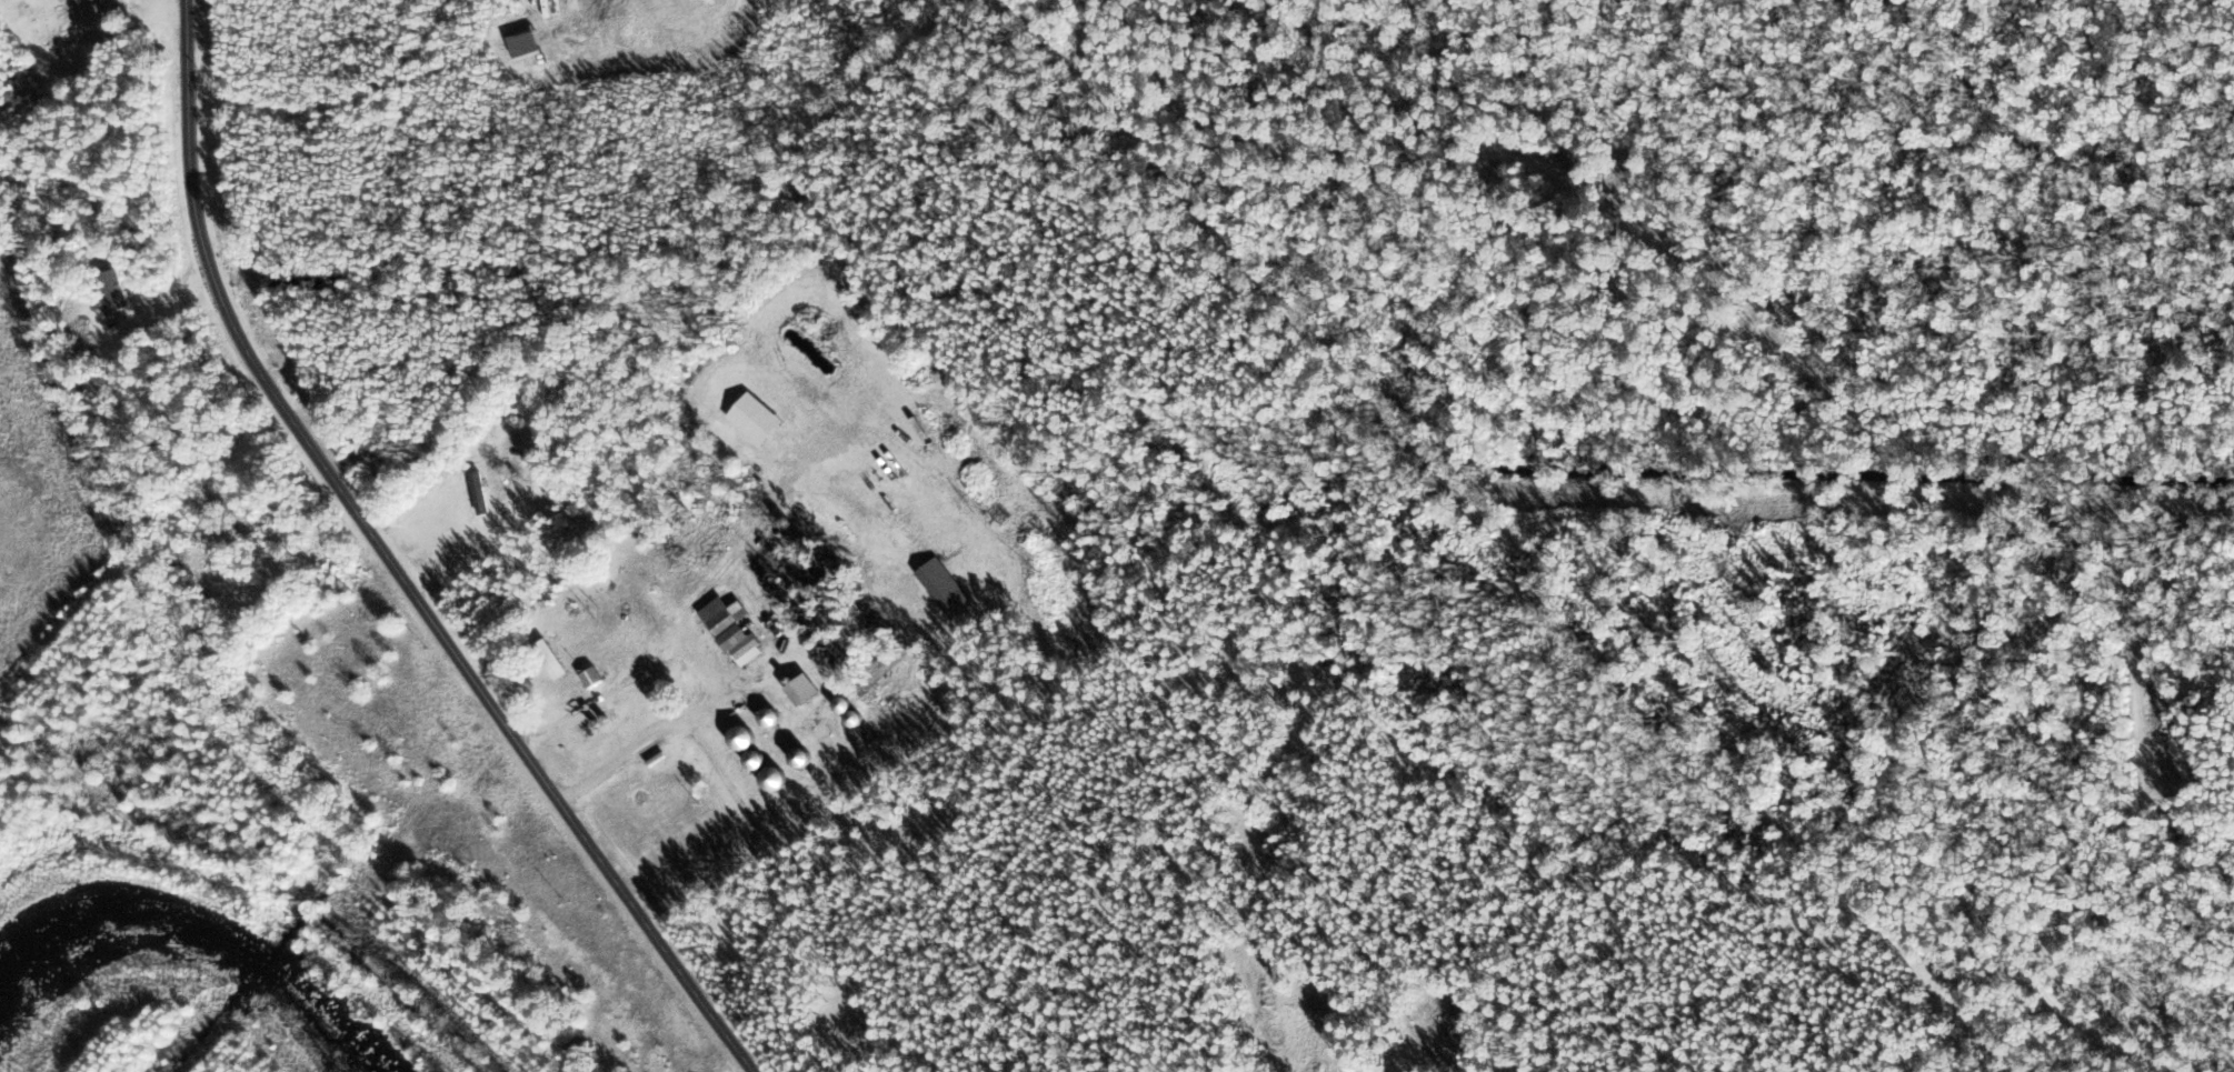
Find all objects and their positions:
building: (101, 266)
building: (478, 492)
road: (393, 564)
building: (730, 629)
building: (549, 659)
building: (590, 677)
building: (767, 717)
building: (739, 738)
building: (798, 758)
building: (752, 760)
building: (771, 778)
road: (1417, 894)

